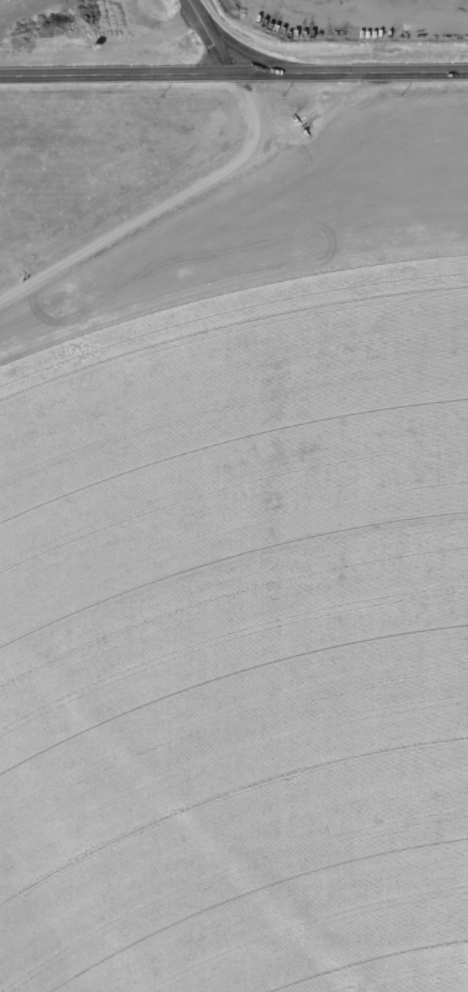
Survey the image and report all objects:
road: (223, 42)
road: (233, 74)
road: (158, 203)

